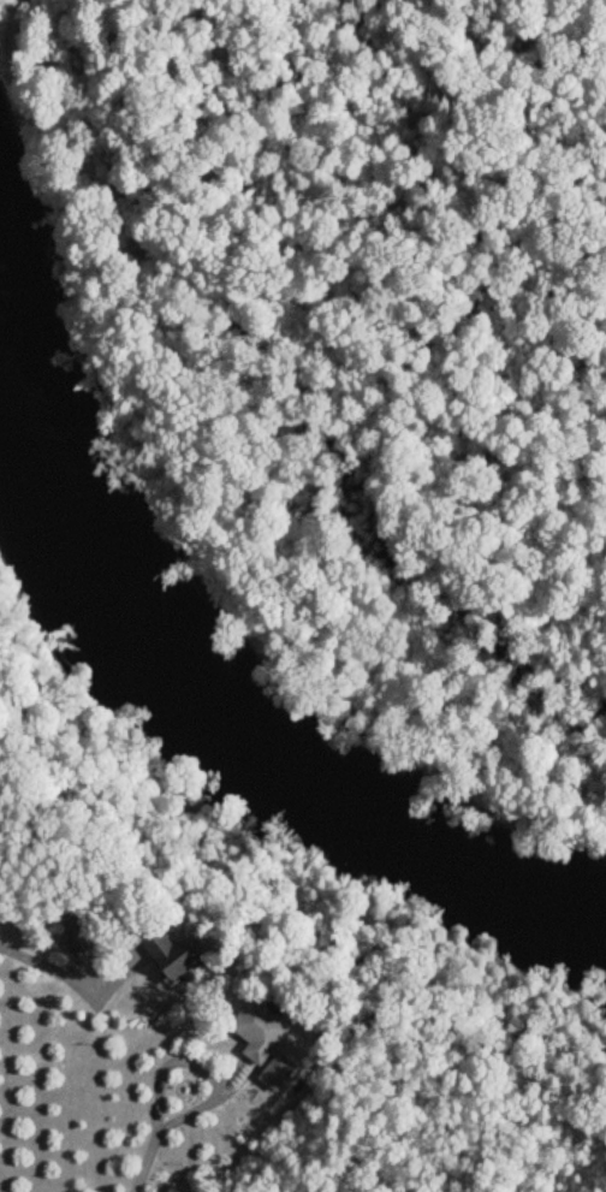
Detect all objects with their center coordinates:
river: (242, 742)
building: (76, 937)
building: (159, 956)
road: (55, 971)
building: (261, 1044)
road: (161, 1063)
road: (176, 1119)

